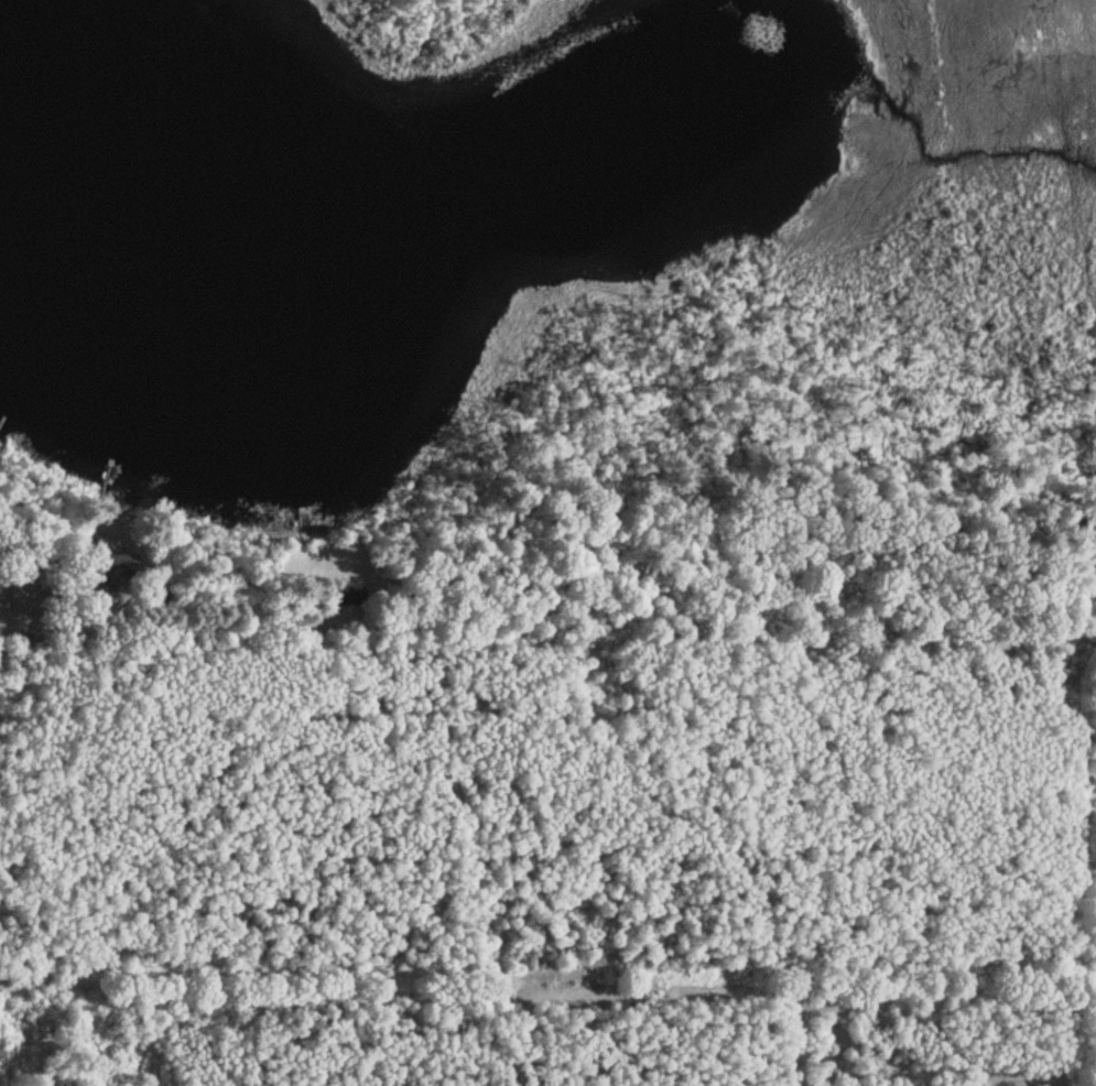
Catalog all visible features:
building: (118, 569)
building: (351, 596)

